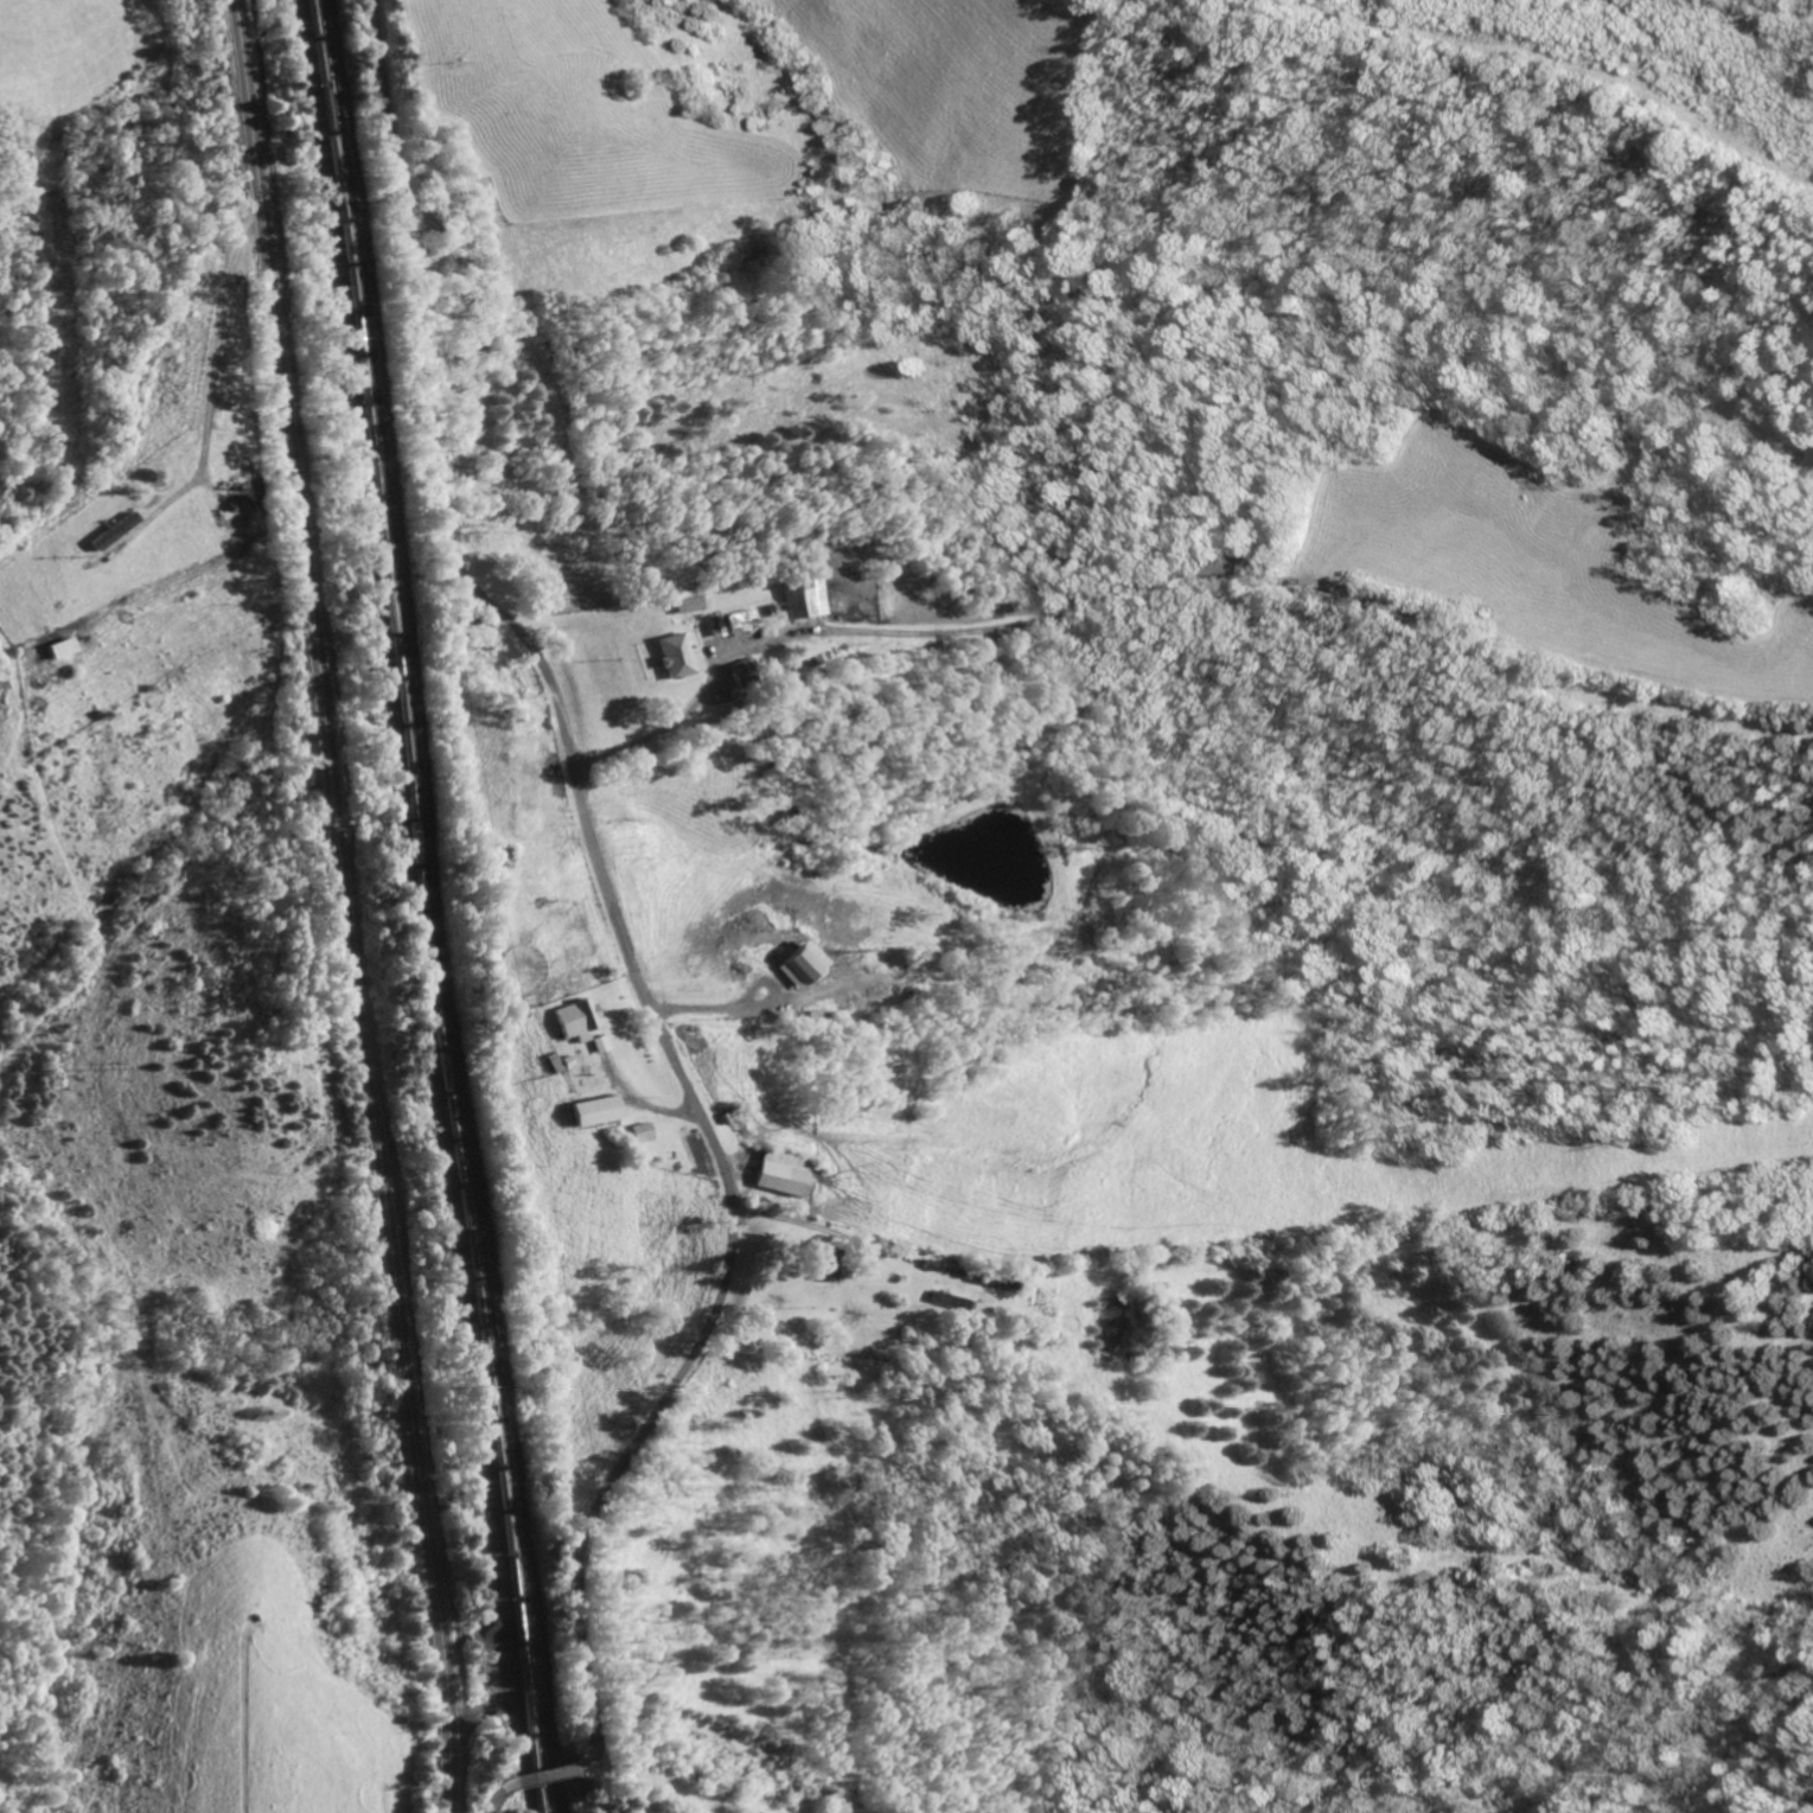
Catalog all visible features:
building: (103, 532)
building: (796, 596)
road: (837, 630)
building: (52, 645)
building: (671, 655)
road: (604, 893)
road: (351, 906)
railway: (427, 906)
railway: (438, 906)
building: (572, 1019)
building: (595, 1043)
building: (589, 1110)
building: (634, 1131)
building: (777, 1174)
road: (802, 1224)
building: (817, 1270)
road: (541, 1776)
road: (492, 1799)

